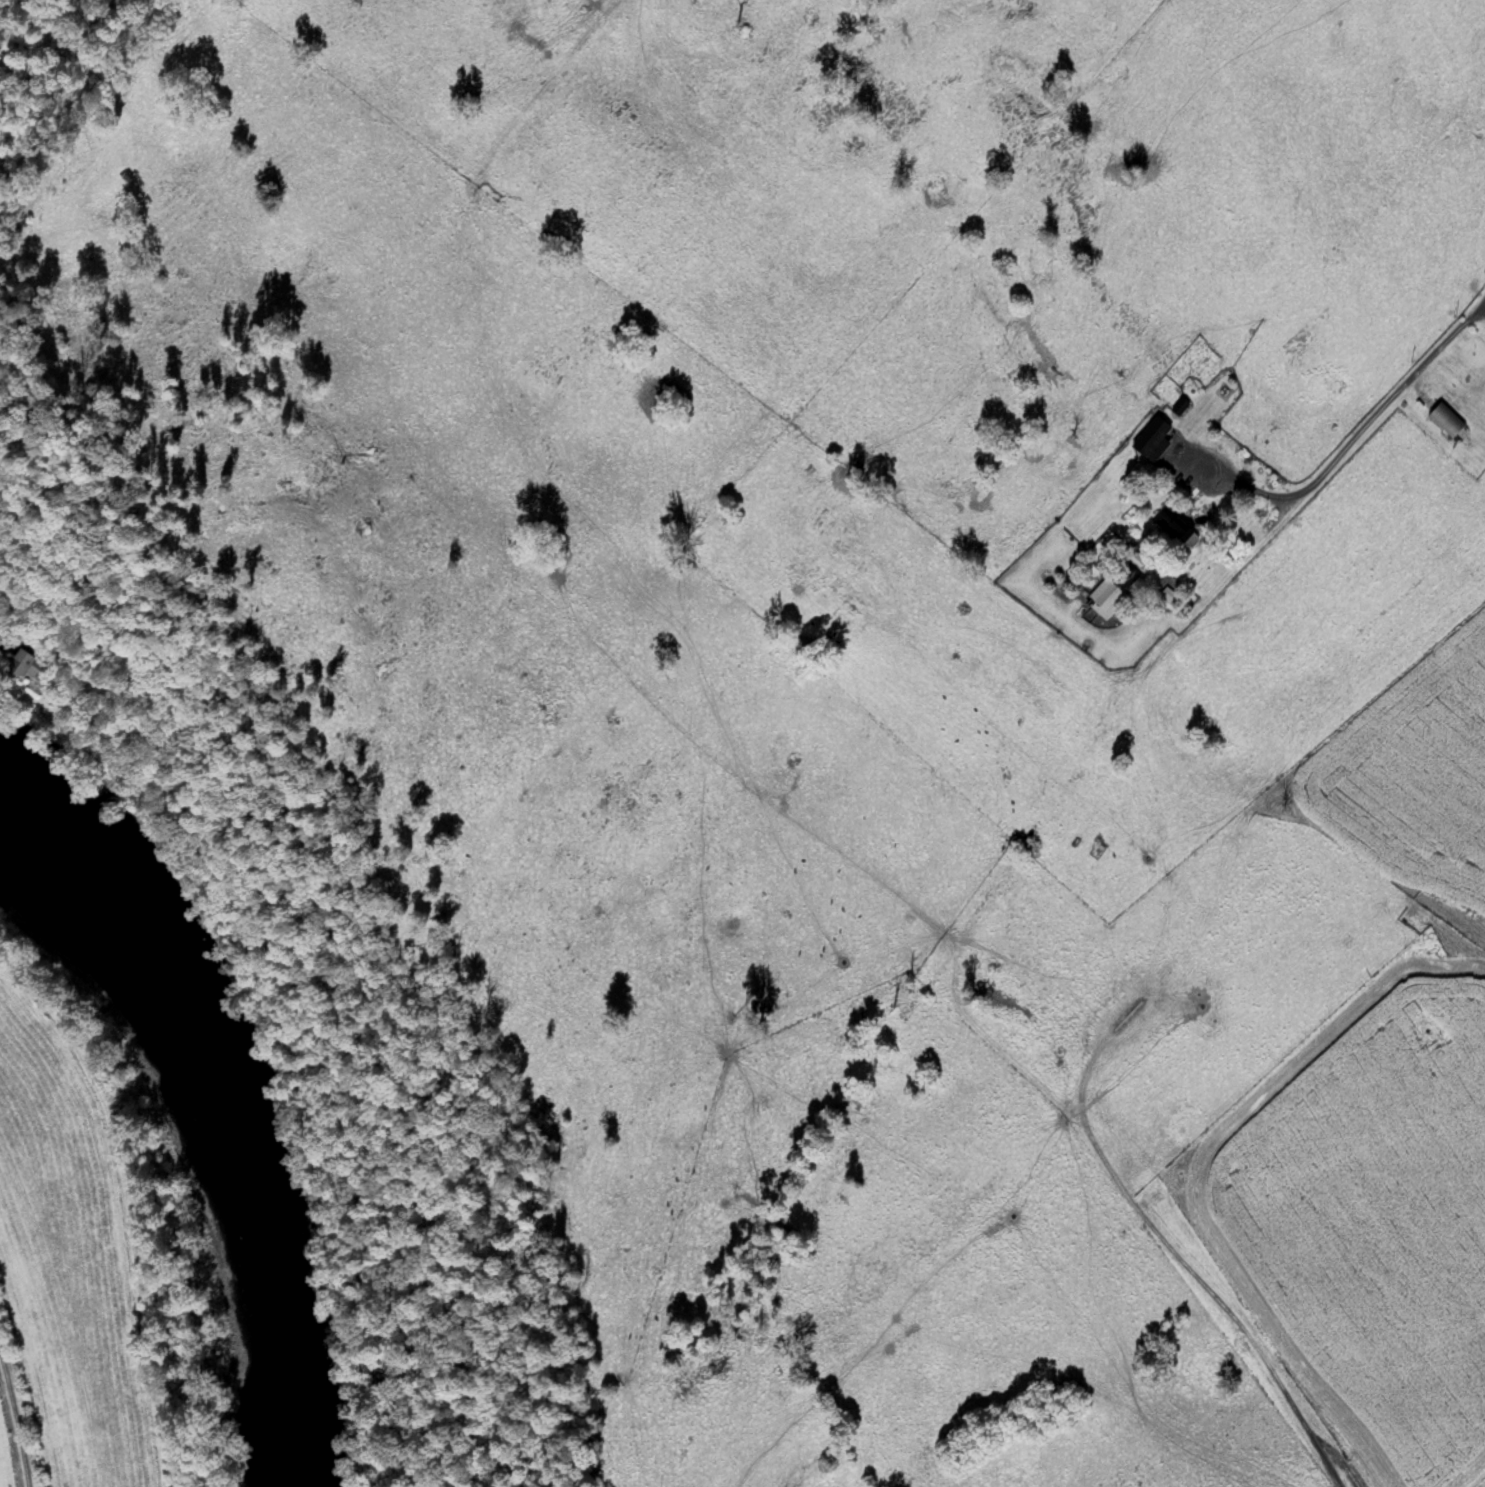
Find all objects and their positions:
road: (1383, 400)
building: (1445, 421)
building: (1148, 437)
building: (1115, 586)
building: (28, 671)
road: (937, 983)
river: (230, 1114)
road: (14, 1422)

